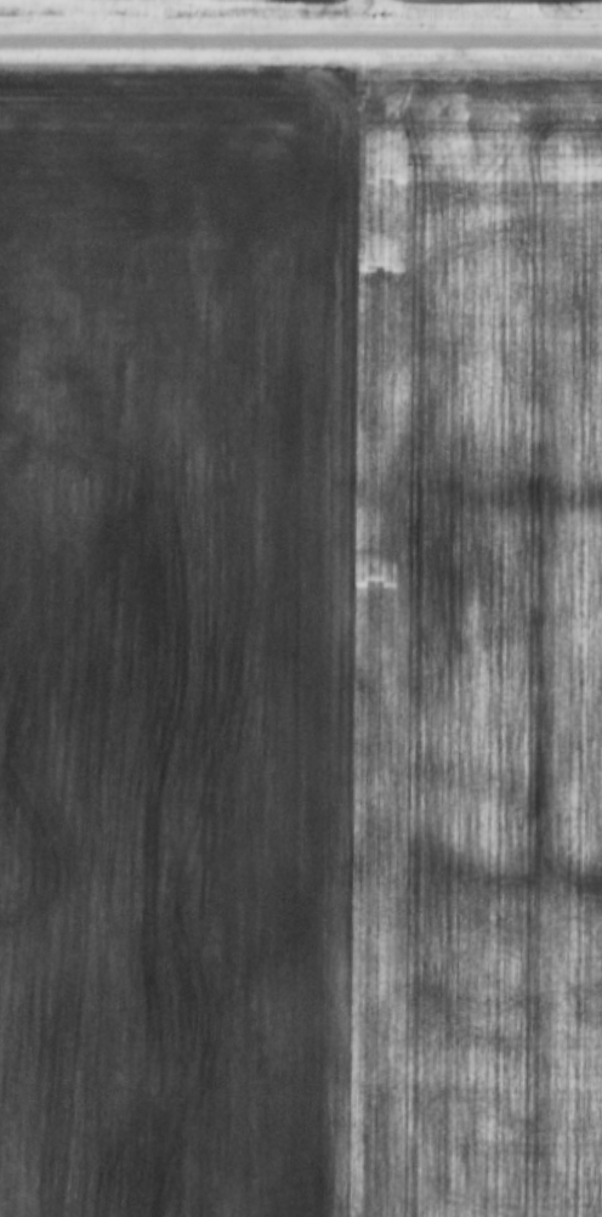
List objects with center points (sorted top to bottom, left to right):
road: (301, 39)

